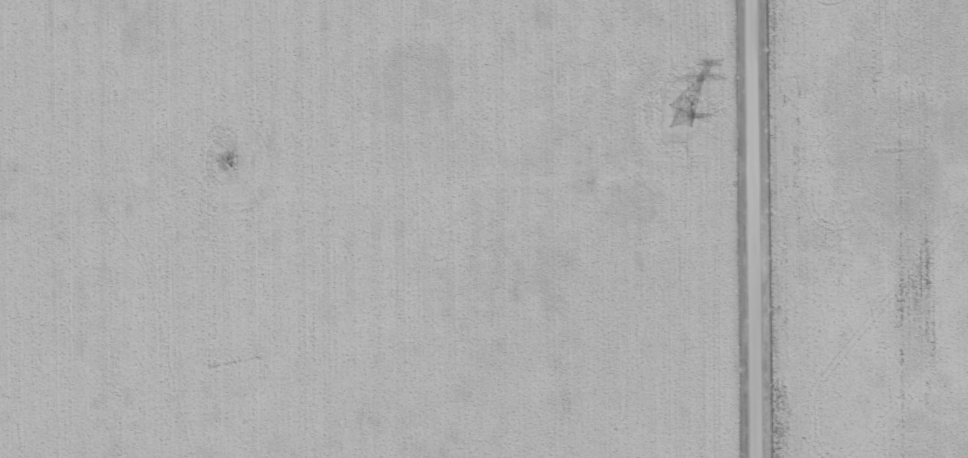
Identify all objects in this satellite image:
power tower: (679, 115)
road: (758, 228)

